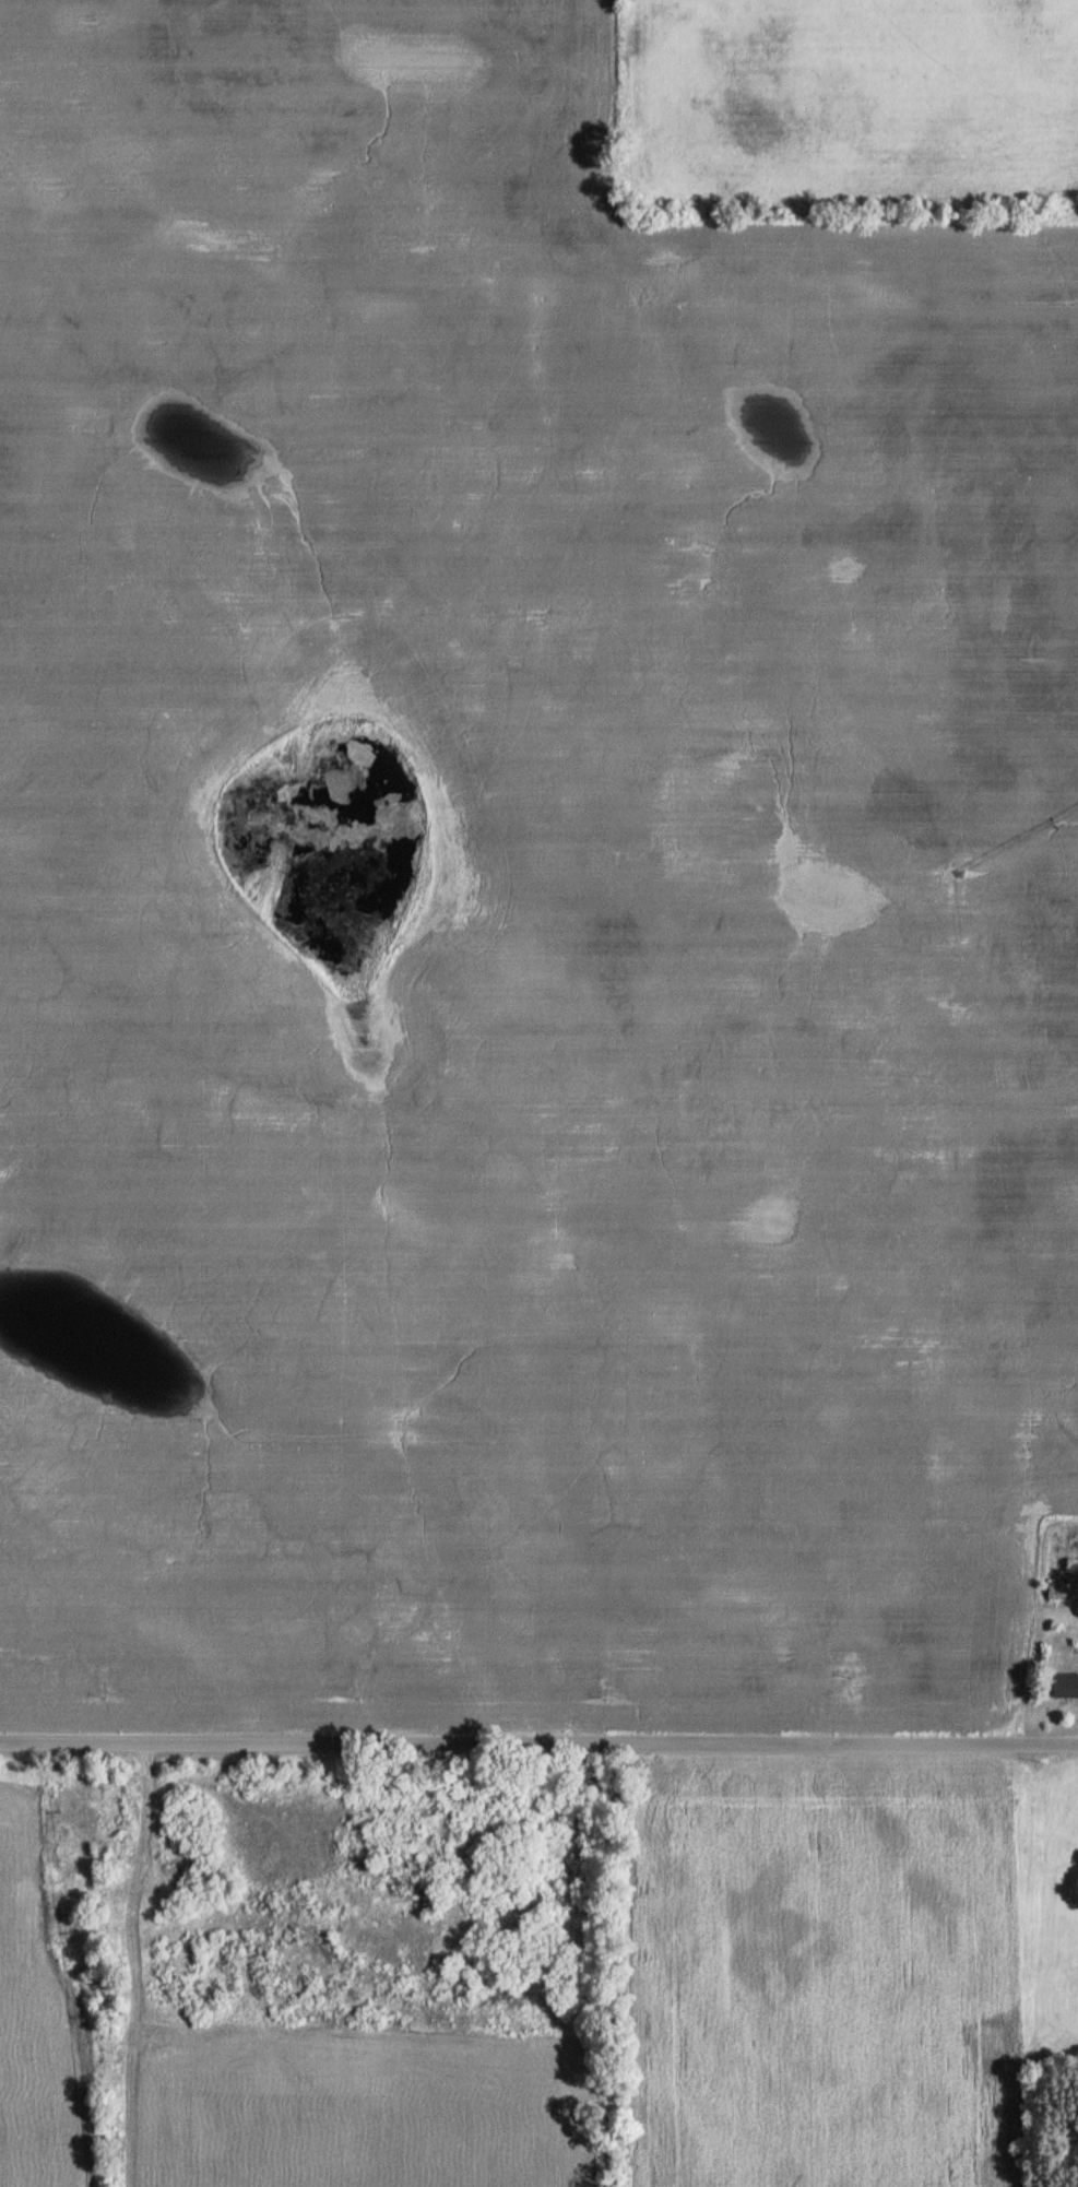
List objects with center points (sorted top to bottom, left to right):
building: (1064, 1687)
road: (538, 1738)

